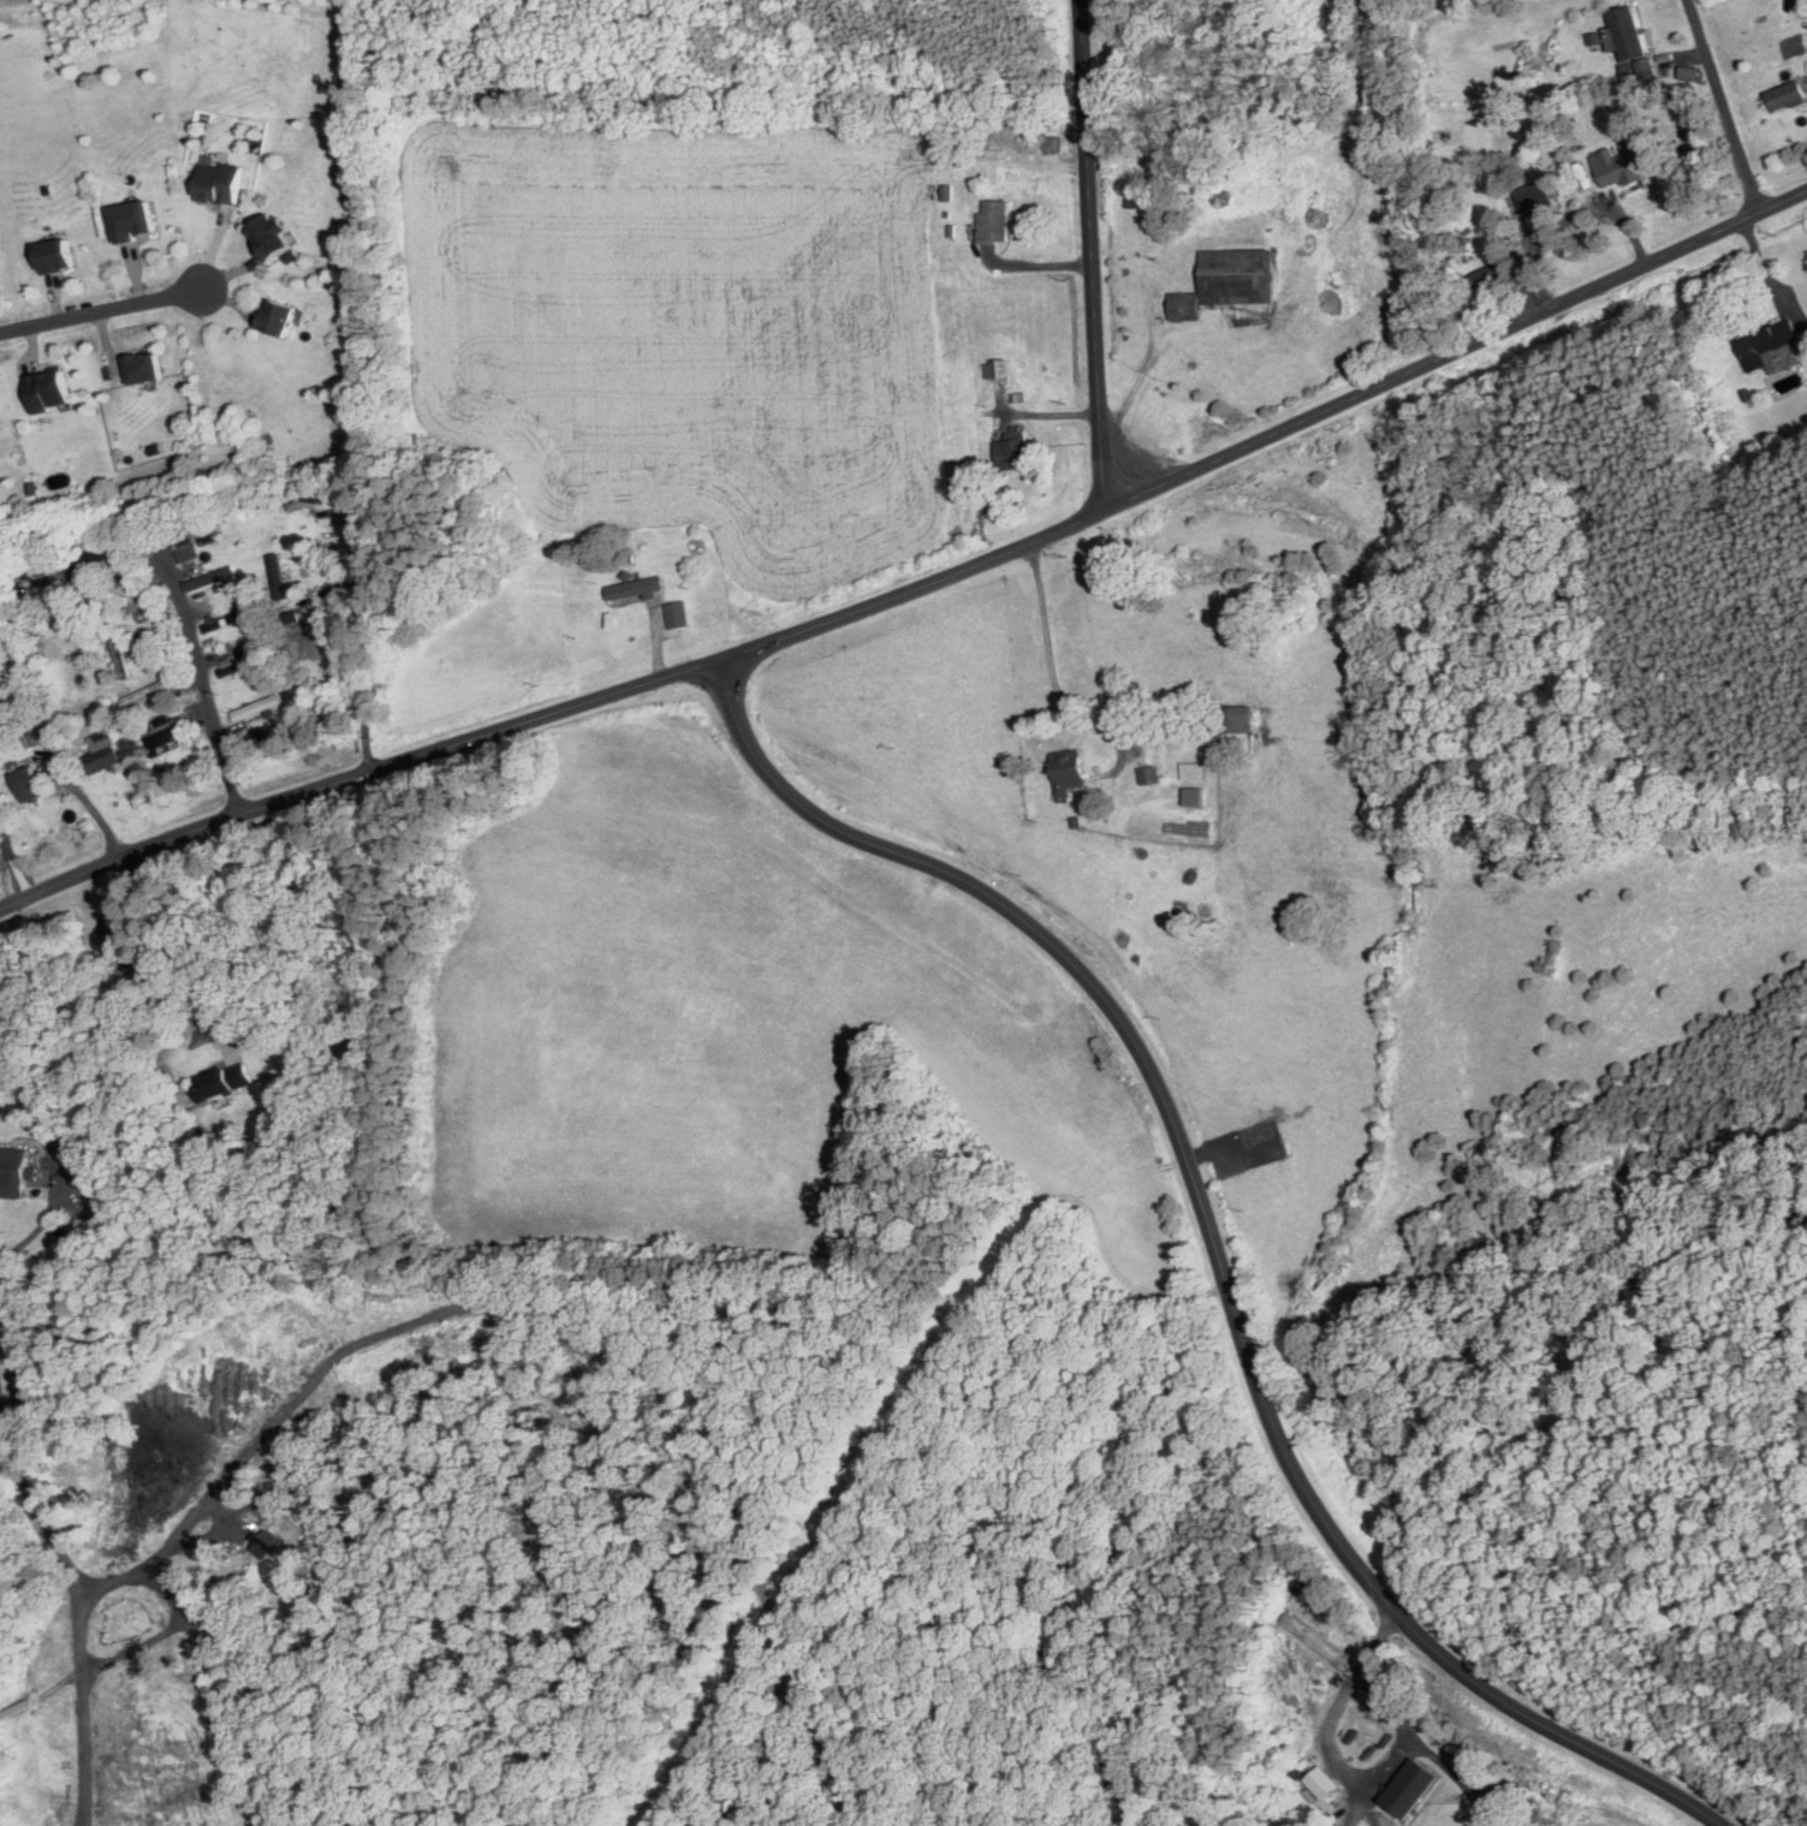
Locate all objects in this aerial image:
building: (1795, 5)
building: (1629, 31)
building: (1794, 47)
building: (1647, 67)
building: (1693, 72)
building: (1631, 75)
building: (1788, 94)
road: (1723, 106)
building: (1443, 135)
building: (1623, 165)
building: (219, 180)
building: (947, 191)
building: (1147, 194)
building: (1536, 198)
building: (947, 213)
building: (131, 218)
building: (993, 221)
building: (1464, 228)
building: (952, 230)
building: (269, 236)
building: (1484, 240)
building: (1462, 243)
building: (54, 254)
building: (291, 255)
road: (1092, 256)
road: (1035, 264)
building: (1237, 275)
building: (1486, 275)
road: (1770, 275)
building: (1185, 305)
road: (101, 309)
building: (278, 317)
building: (1767, 341)
road: (1456, 352)
building: (142, 367)
building: (995, 367)
building: (46, 389)
building: (1020, 397)
building: (1012, 448)
building: (67, 462)
building: (308, 502)
building: (184, 542)
building: (629, 557)
building: (626, 575)
building: (278, 576)
building: (209, 577)
building: (636, 588)
building: (677, 614)
building: (224, 621)
road: (367, 632)
building: (117, 654)
building: (237, 664)
road: (1052, 664)
building: (41, 667)
road: (204, 685)
building: (147, 694)
building: (258, 707)
building: (46, 714)
road: (553, 714)
building: (50, 730)
building: (167, 732)
building: (36, 736)
building: (101, 751)
building: (1191, 771)
building: (1065, 772)
building: (1143, 774)
building: (28, 785)
building: (1191, 796)
road: (91, 805)
road: (12, 867)
road: (124, 965)
building: (225, 1079)
road: (57, 1160)
building: (47, 1166)
building: (14, 1172)
building: (102, 1214)
road: (1215, 1244)
building: (63, 1245)
road: (145, 1565)
road: (76, 1604)
road: (162, 1635)
road: (1341, 1762)
road: (1454, 1771)
building: (1324, 1782)
building: (1411, 1788)

